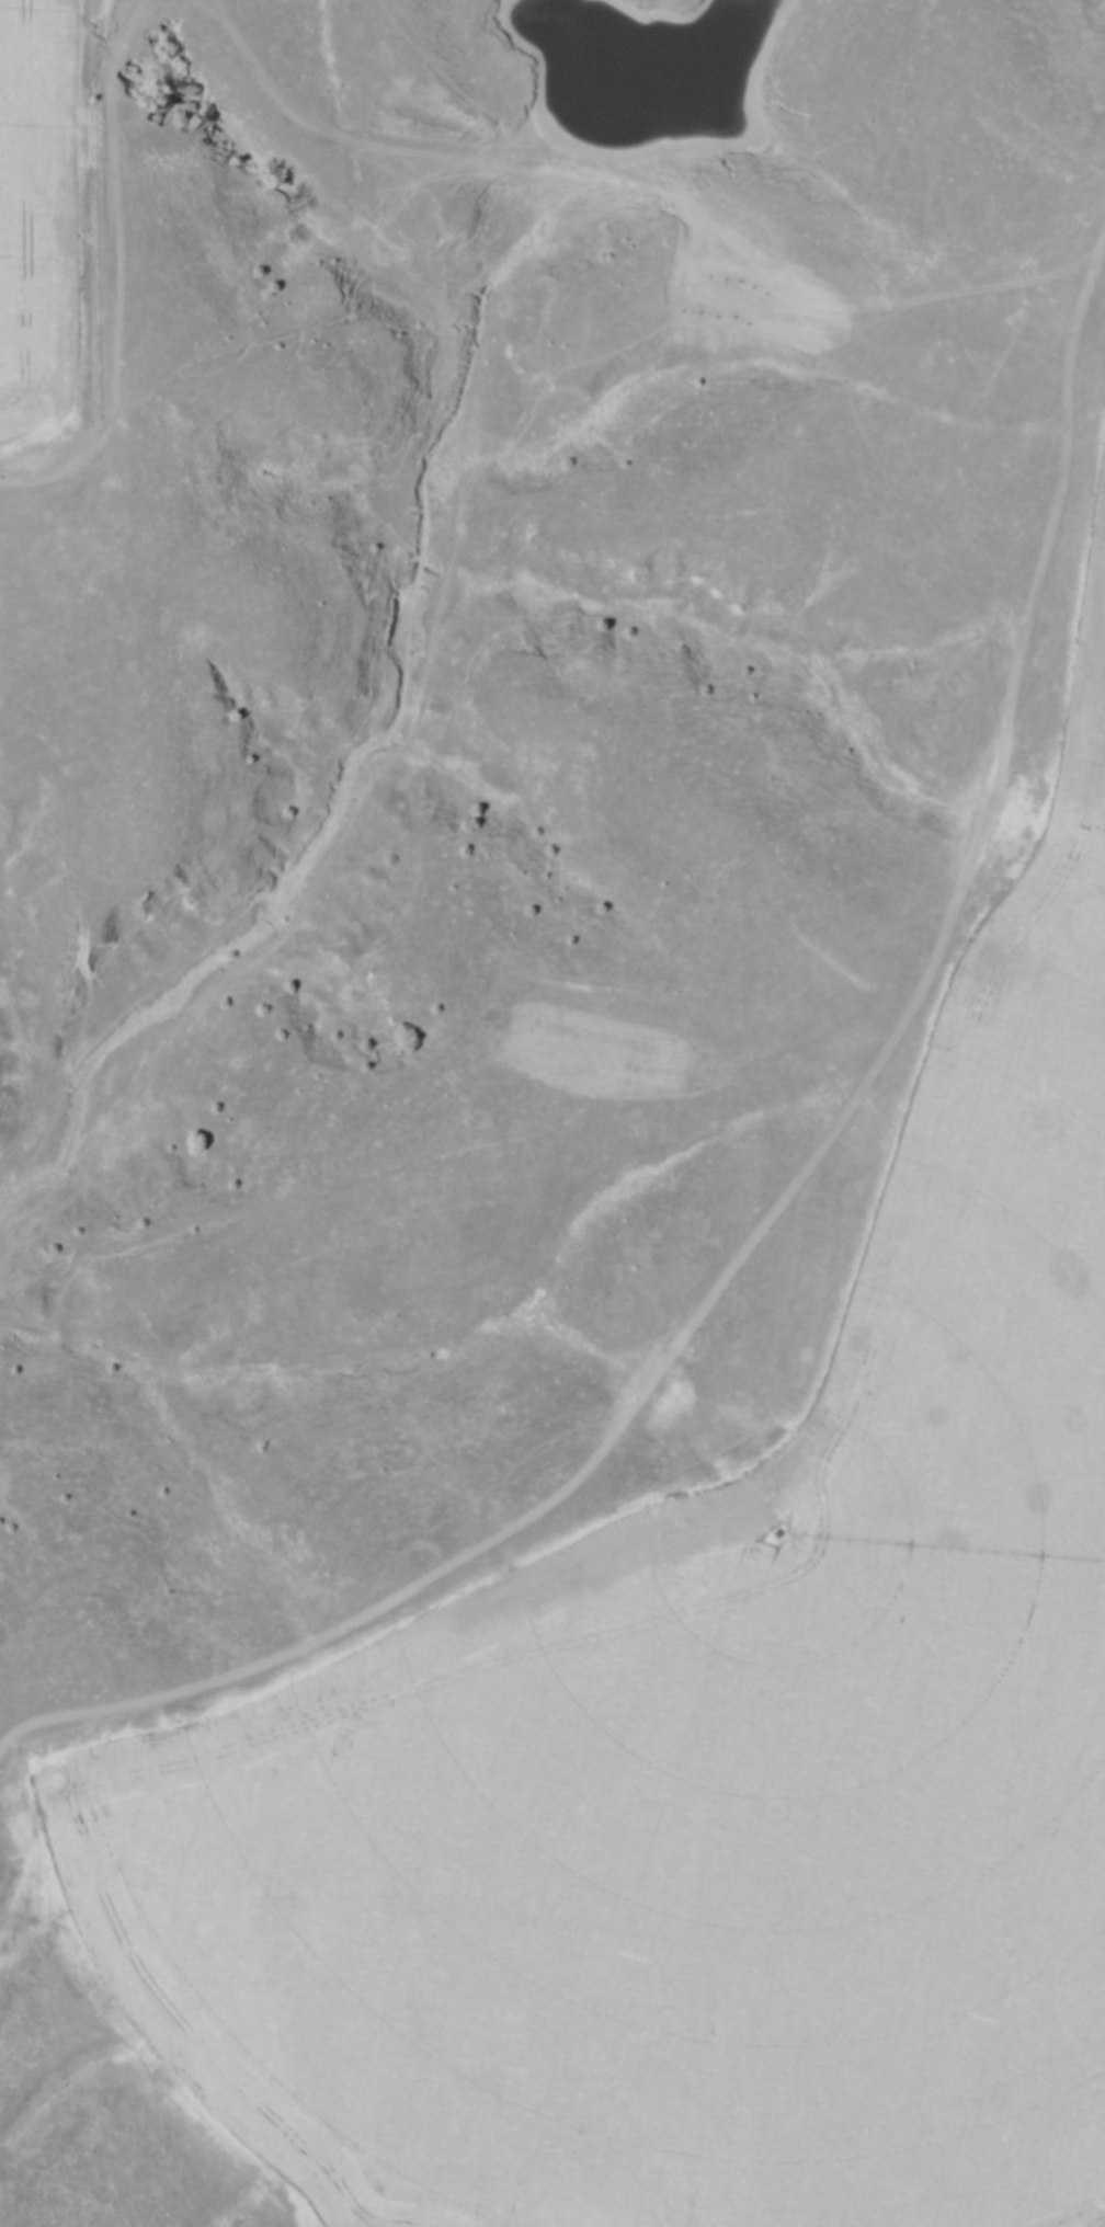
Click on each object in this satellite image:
crop: (36, 206)
building: (31, 443)
building: (912, 1087)

